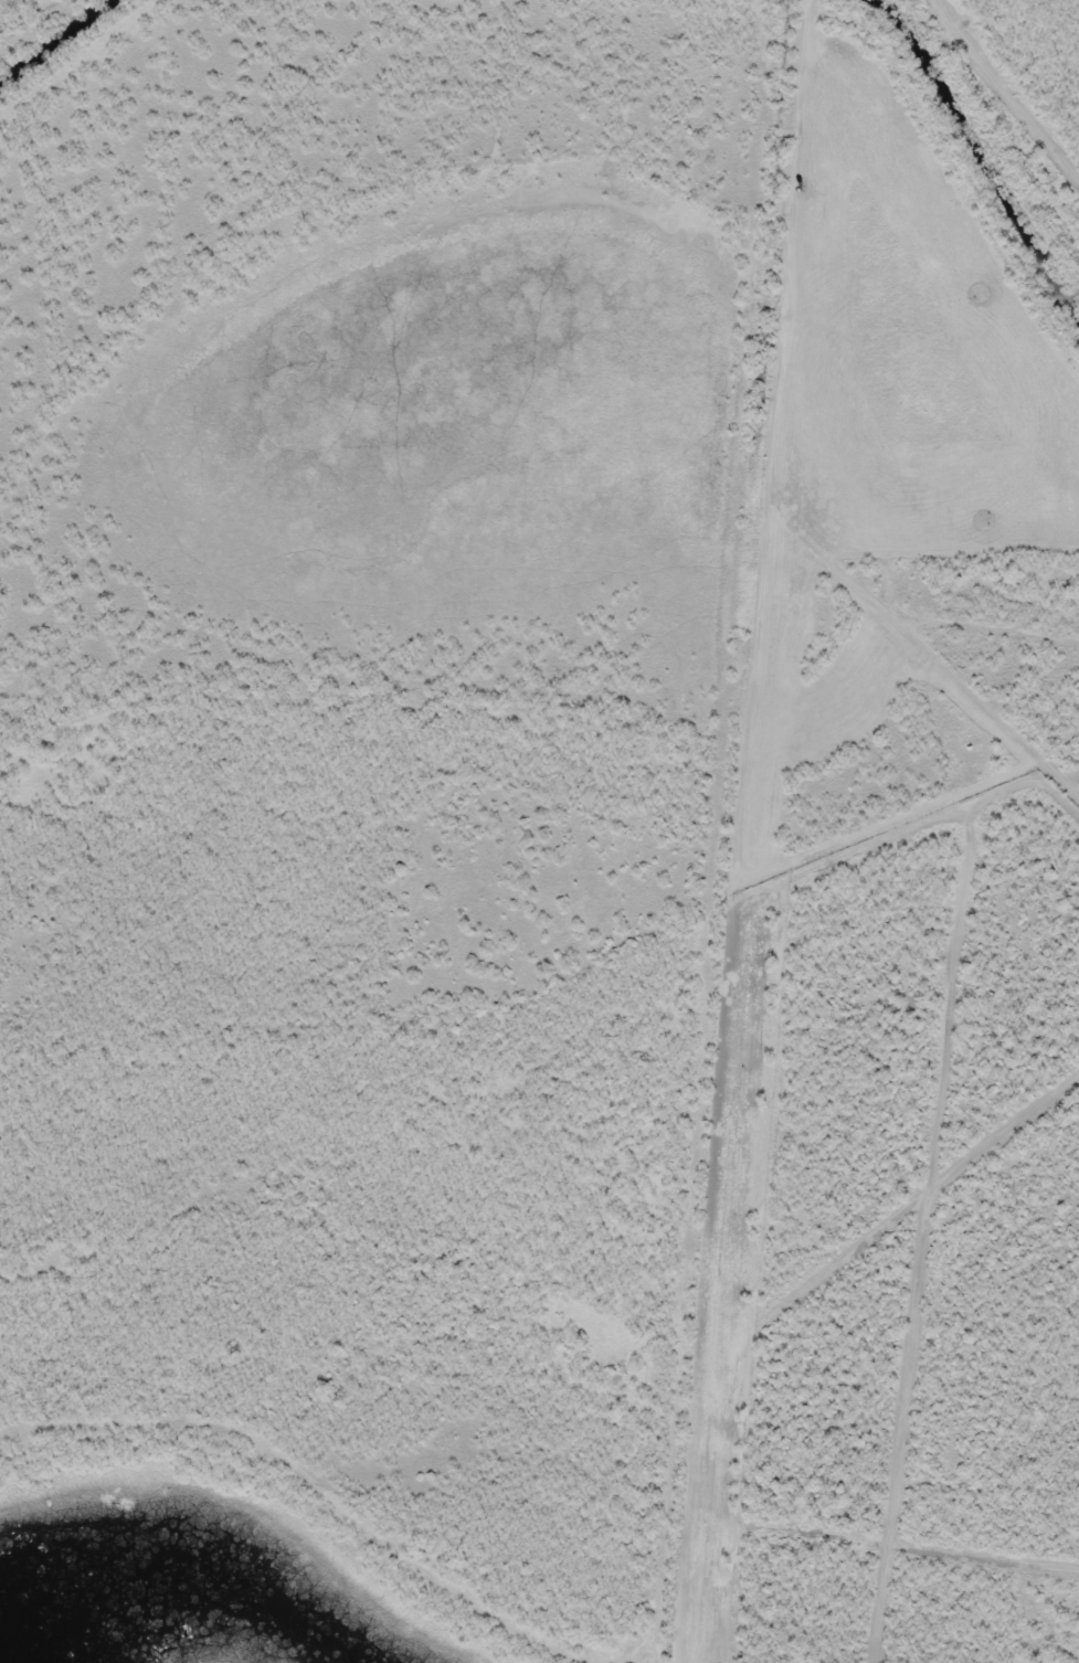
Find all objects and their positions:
road: (711, 831)
road: (398, 1475)
river: (187, 1578)

